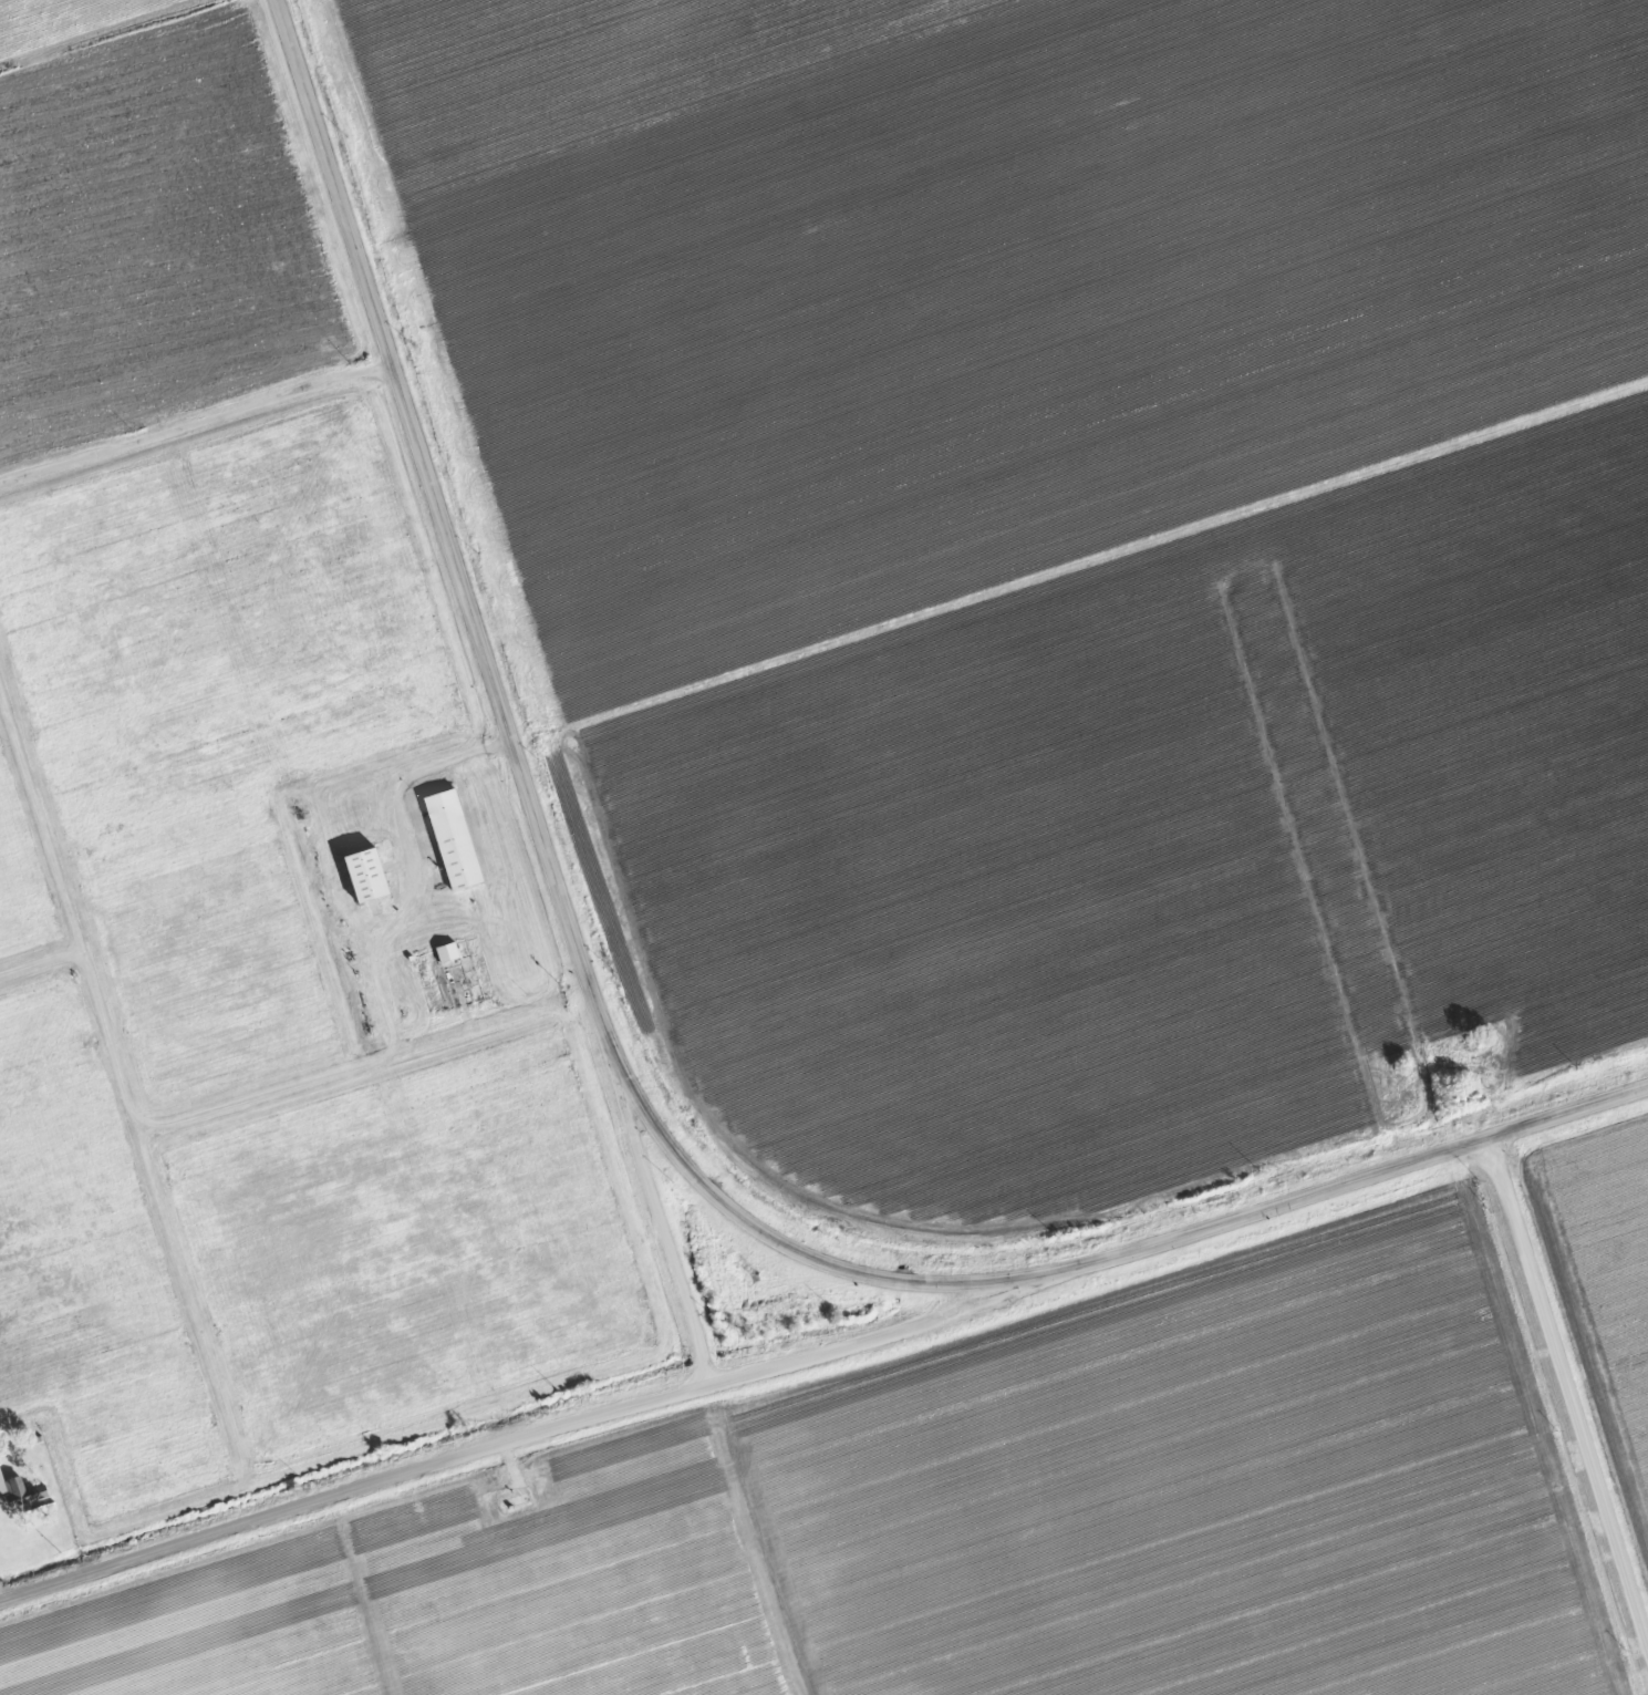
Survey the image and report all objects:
road: (197, 434)
building: (456, 840)
road: (425, 869)
building: (369, 876)
building: (449, 953)
road: (623, 1079)
road: (664, 1227)
road: (857, 1341)
road: (1571, 1385)
building: (2, 1478)
road: (356, 1496)
road: (3, 1592)

